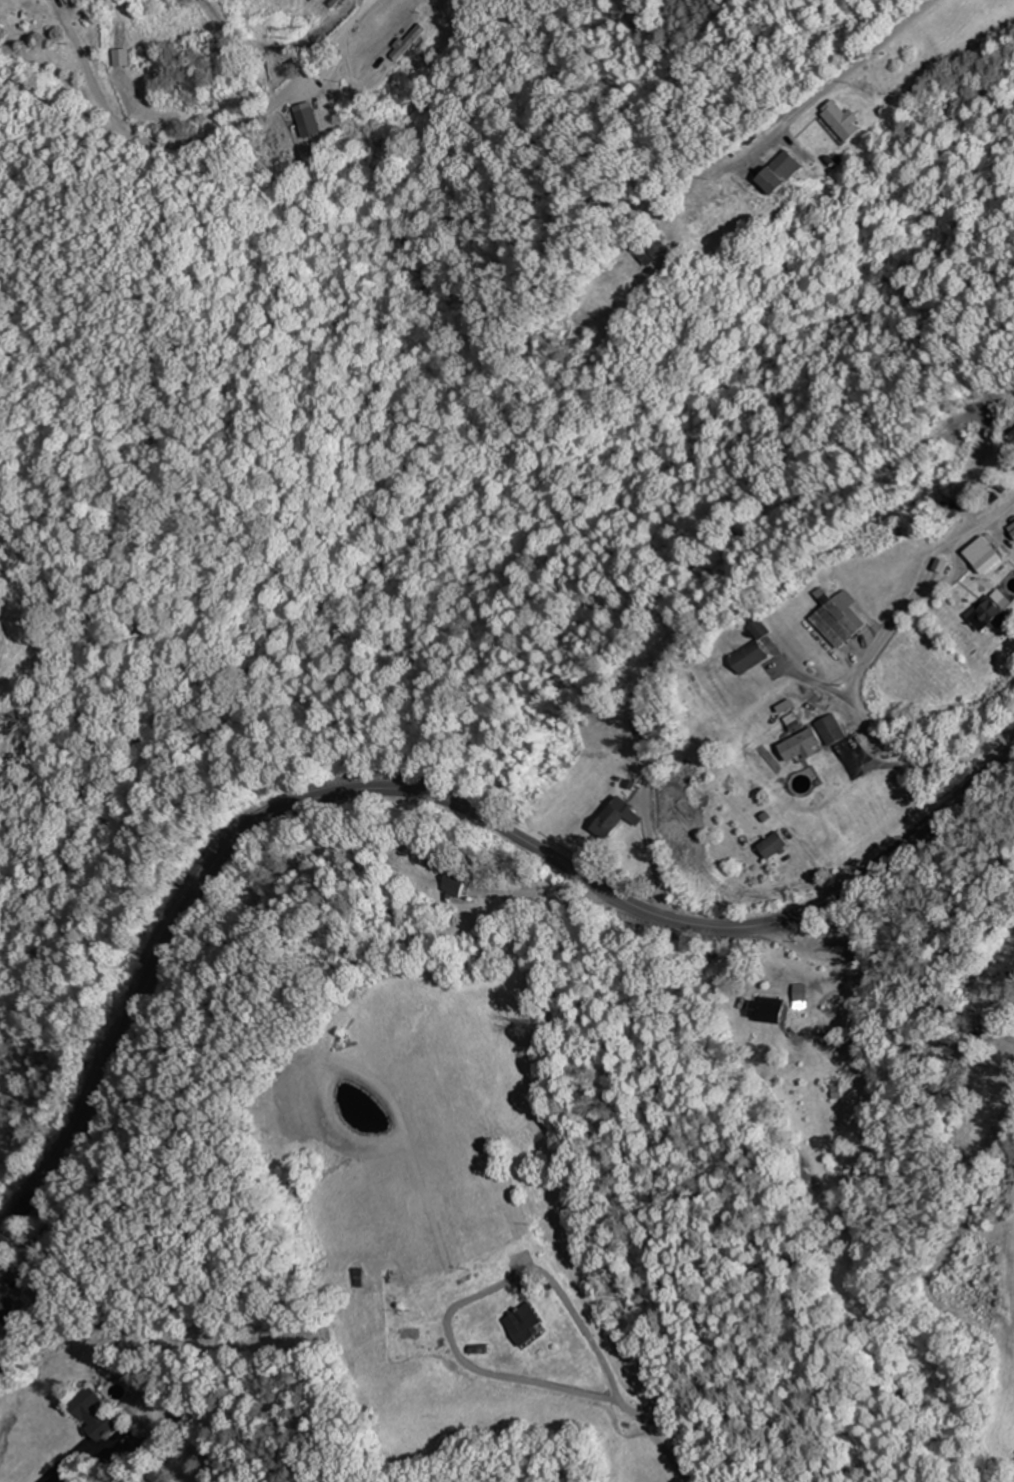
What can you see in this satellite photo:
building: (443, 8)
building: (411, 43)
road: (835, 82)
building: (845, 120)
building: (312, 122)
road: (206, 139)
building: (785, 171)
building: (709, 209)
building: (655, 250)
building: (1013, 527)
building: (988, 554)
road: (926, 574)
building: (990, 613)
building: (842, 619)
building: (767, 629)
building: (754, 656)
building: (637, 688)
building: (833, 729)
road: (875, 736)
building: (805, 745)
road: (432, 797)
building: (673, 801)
building: (622, 818)
building: (780, 845)
building: (461, 883)
road: (586, 900)
road: (970, 924)
building: (775, 1009)
road: (726, 1021)
building: (8, 1306)
building: (530, 1325)
building: (96, 1413)

